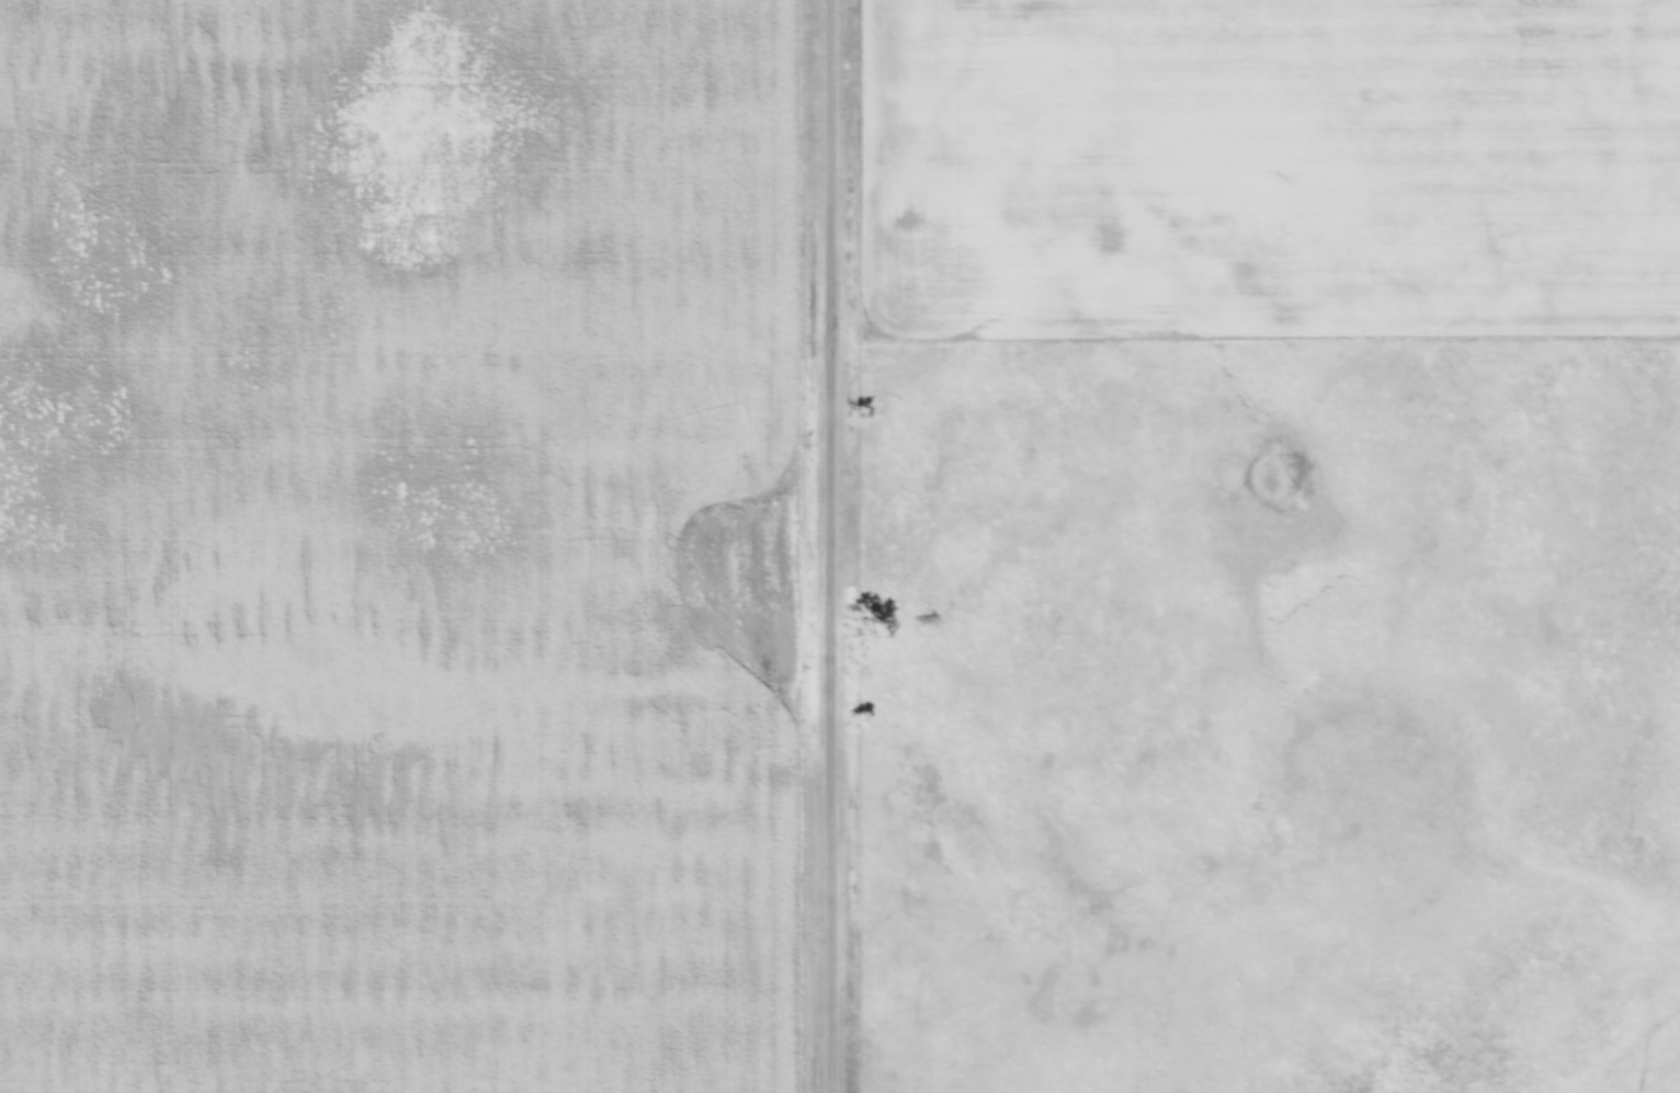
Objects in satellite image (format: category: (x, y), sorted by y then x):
road: (836, 546)

